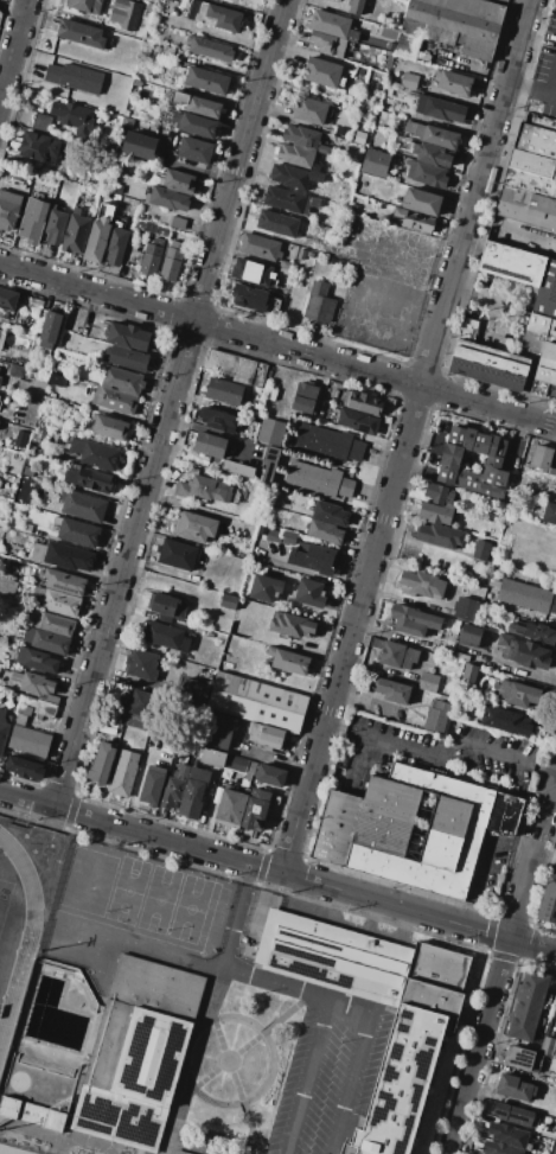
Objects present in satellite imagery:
building: (84, 6)
building: (354, 6)
road: (13, 8)
building: (471, 8)
building: (123, 13)
building: (217, 17)
building: (452, 20)
building: (331, 24)
building: (81, 33)
road: (216, 33)
building: (440, 40)
building: (327, 44)
building: (210, 49)
road: (14, 51)
building: (166, 51)
building: (429, 59)
building: (174, 63)
road: (542, 69)
building: (321, 71)
parking lot: (544, 75)
building: (75, 78)
building: (409, 79)
building: (206, 81)
building: (453, 82)
building: (136, 83)
building: (196, 104)
building: (440, 108)
building: (309, 110)
building: (72, 117)
building: (40, 121)
building: (194, 125)
building: (433, 135)
building: (301, 136)
building: (139, 145)
building: (38, 147)
building: (322, 148)
building: (194, 149)
building: (535, 151)
building: (430, 154)
building: (295, 155)
building: (375, 162)
building: (315, 166)
building: (427, 174)
building: (294, 177)
building: (177, 181)
building: (530, 181)
building: (114, 187)
building: (168, 198)
building: (287, 200)
building: (422, 202)
building: (315, 203)
building: (526, 206)
building: (8, 209)
building: (32, 221)
building: (414, 221)
building: (177, 222)
building: (279, 224)
building: (55, 227)
building: (151, 228)
building: (75, 232)
building: (97, 236)
building: (115, 247)
building: (260, 247)
building: (289, 253)
building: (301, 254)
building: (309, 255)
building: (151, 257)
building: (331, 260)
building: (172, 261)
building: (511, 263)
building: (286, 266)
building: (251, 272)
building: (547, 291)
building: (7, 299)
building: (255, 299)
road: (492, 301)
building: (319, 302)
building: (75, 329)
building: (467, 329)
building: (47, 332)
building: (127, 336)
building: (1, 338)
road: (277, 344)
building: (544, 355)
building: (128, 359)
building: (488, 365)
building: (0, 366)
building: (236, 368)
building: (17, 370)
building: (0, 380)
building: (56, 380)
building: (122, 381)
building: (224, 391)
building: (271, 397)
building: (305, 397)
building: (114, 400)
building: (365, 402)
road: (170, 403)
building: (253, 408)
road: (106, 410)
building: (218, 420)
building: (357, 421)
building: (110, 427)
road: (212, 432)
building: (270, 432)
building: (331, 436)
road: (407, 436)
building: (209, 445)
building: (326, 448)
building: (95, 454)
building: (542, 460)
building: (448, 463)
building: (269, 464)
building: (237, 468)
building: (320, 473)
building: (89, 479)
building: (318, 485)
building: (203, 489)
building: (439, 493)
building: (82, 505)
building: (330, 512)
building: (550, 512)
building: (434, 514)
building: (194, 525)
building: (77, 531)
building: (324, 531)
building: (439, 535)
building: (274, 536)
building: (289, 537)
building: (480, 549)
building: (178, 555)
building: (63, 556)
building: (312, 560)
building: (64, 582)
building: (421, 585)
building: (7, 587)
building: (264, 588)
building: (309, 593)
building: (526, 595)
building: (228, 601)
building: (60, 604)
building: (166, 606)
building: (466, 610)
building: (413, 620)
building: (51, 623)
building: (290, 625)
building: (536, 632)
building: (165, 636)
building: (471, 636)
building: (46, 640)
building: (524, 652)
building: (395, 653)
building: (34, 659)
building: (288, 661)
building: (141, 664)
building: (469, 674)
building: (428, 682)
building: (33, 683)
building: (192, 689)
building: (392, 690)
building: (518, 693)
building: (256, 702)
building: (140, 708)
building: (32, 709)
building: (436, 718)
building: (504, 721)
road: (333, 725)
building: (107, 726)
building: (2, 729)
road: (350, 729)
building: (219, 731)
building: (266, 735)
building: (27, 742)
road: (445, 747)
building: (212, 757)
road: (276, 761)
building: (101, 763)
building: (236, 764)
building: (24, 767)
road: (543, 769)
building: (270, 776)
building: (122, 778)
building: (152, 785)
building: (174, 786)
building: (193, 792)
building: (230, 808)
building: (256, 808)
building: (504, 812)
building: (335, 828)
building: (418, 829)
road: (482, 859)
road: (277, 872)
park: (5, 899)
building: (548, 900)
building: (295, 907)
track: (20, 939)
road: (503, 963)
road: (243, 975)
building: (528, 1006)
building: (416, 1031)
building: (547, 1046)
building: (102, 1051)
building: (518, 1058)
parking lot: (330, 1073)
road: (309, 1077)
road: (350, 1083)
building: (515, 1088)
building: (515, 1115)
building: (507, 1135)
building: (499, 1148)
building: (179, 1153)

